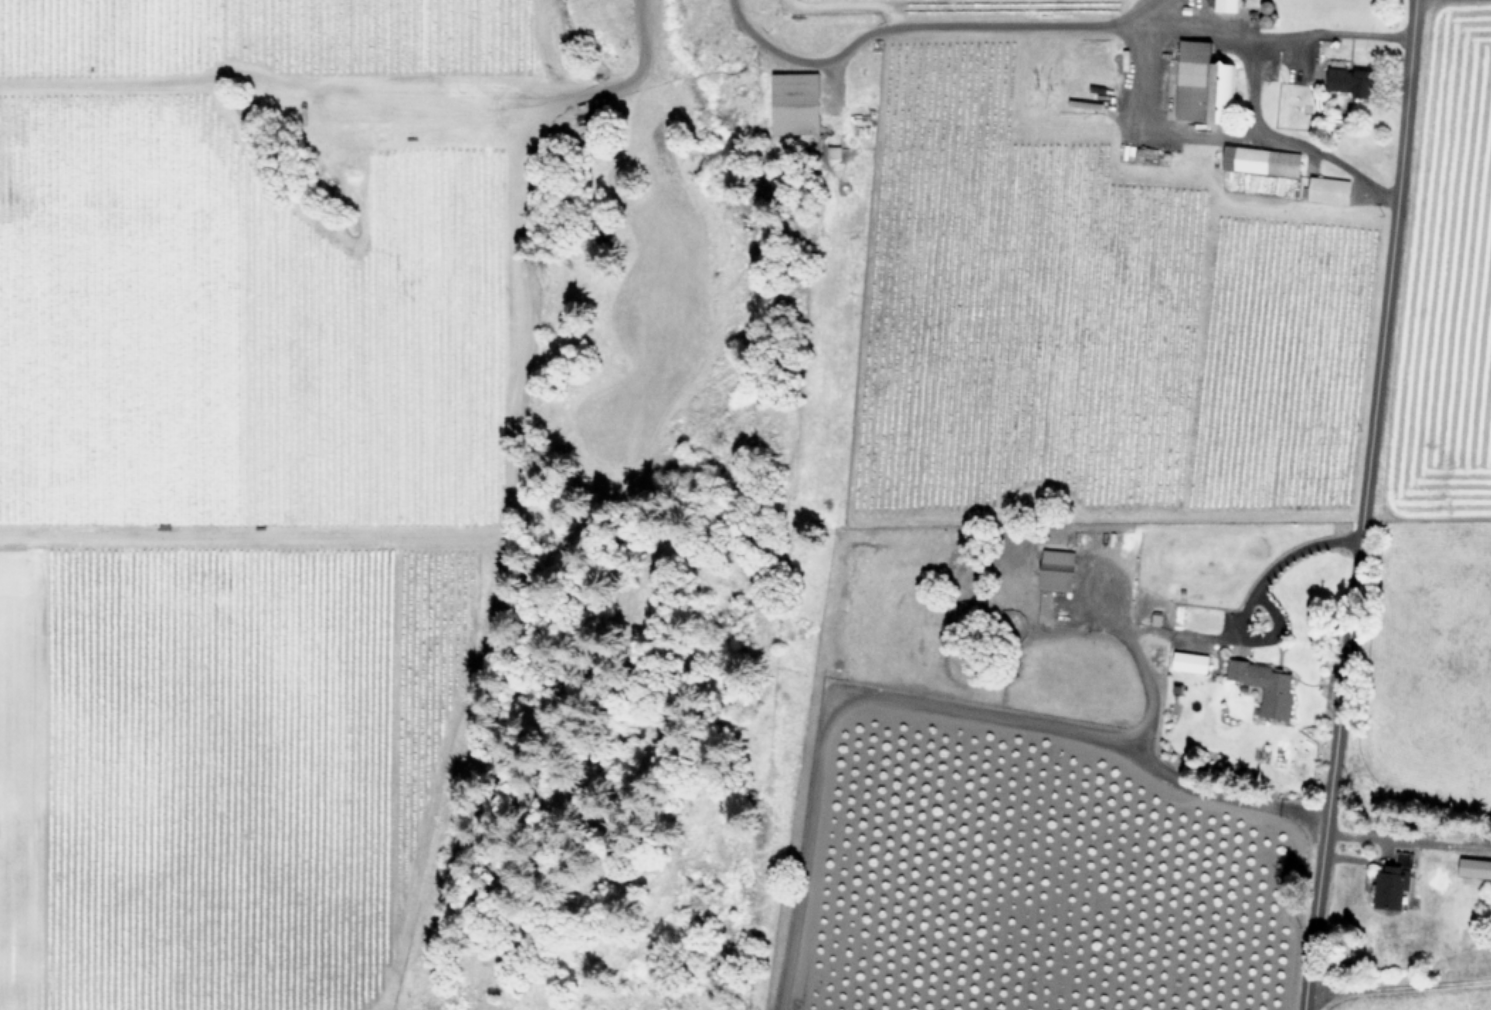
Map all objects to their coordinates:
road: (1017, 27)
road: (1287, 38)
building: (1346, 79)
building: (1199, 81)
building: (791, 102)
road: (1214, 134)
building: (831, 150)
building: (1257, 159)
building: (1325, 188)
crop: (232, 472)
crop: (1066, 495)
road: (1360, 505)
building: (1052, 568)
crop: (1431, 576)
road: (1206, 634)
building: (1186, 661)
building: (1262, 685)
road: (929, 701)
road: (1406, 839)
building: (1472, 867)
building: (1387, 883)
road: (1396, 985)

